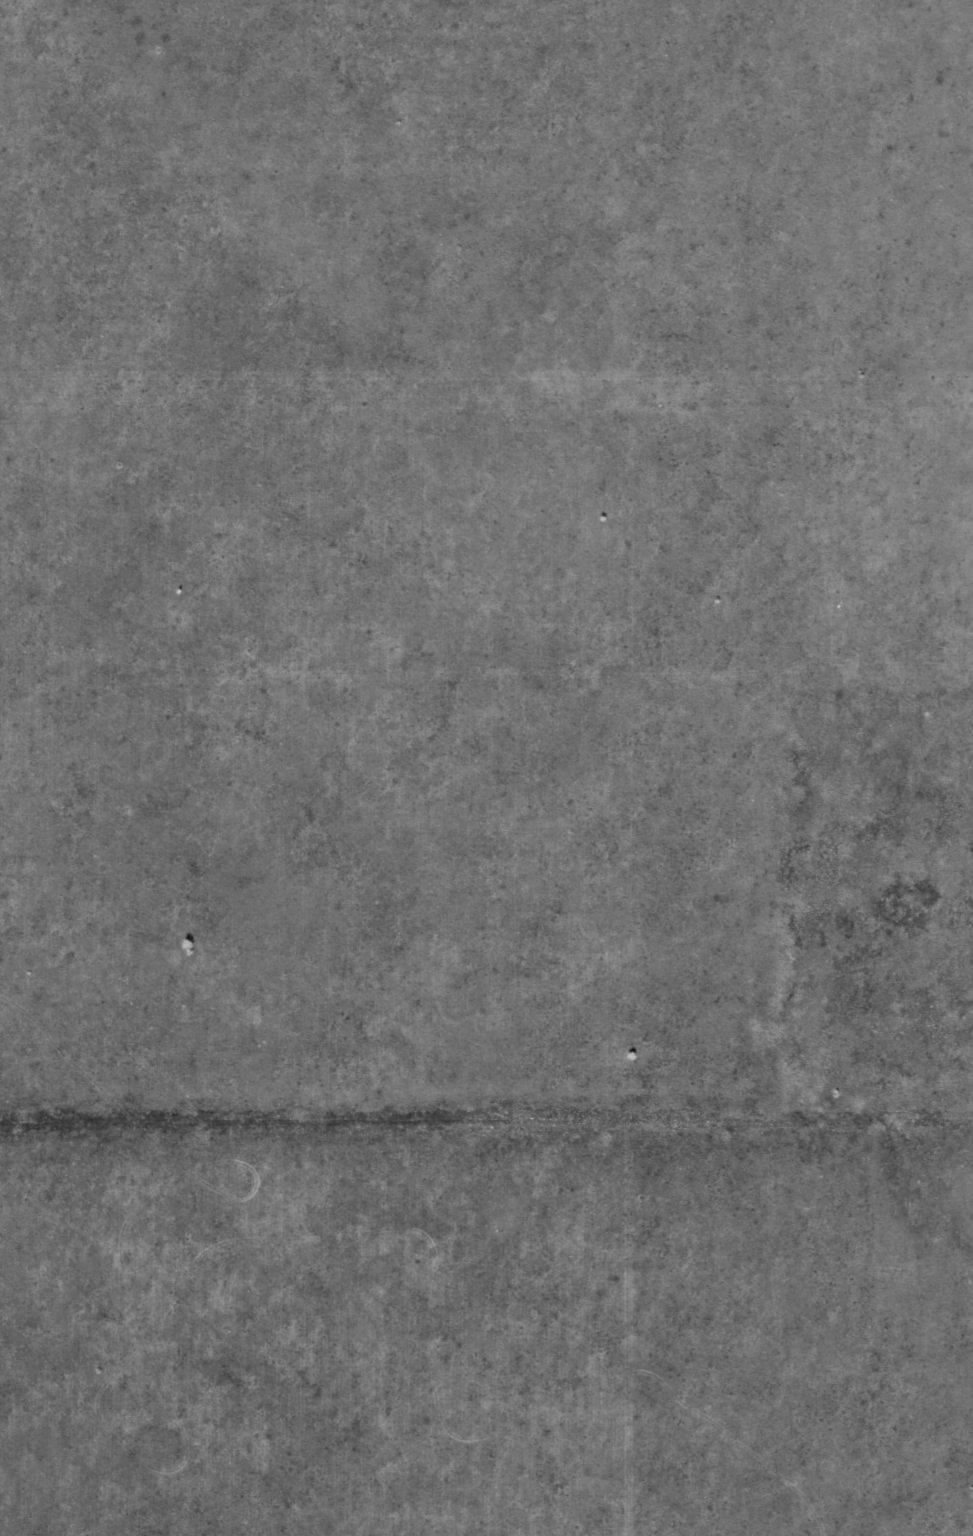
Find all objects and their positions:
road: (486, 1112)

